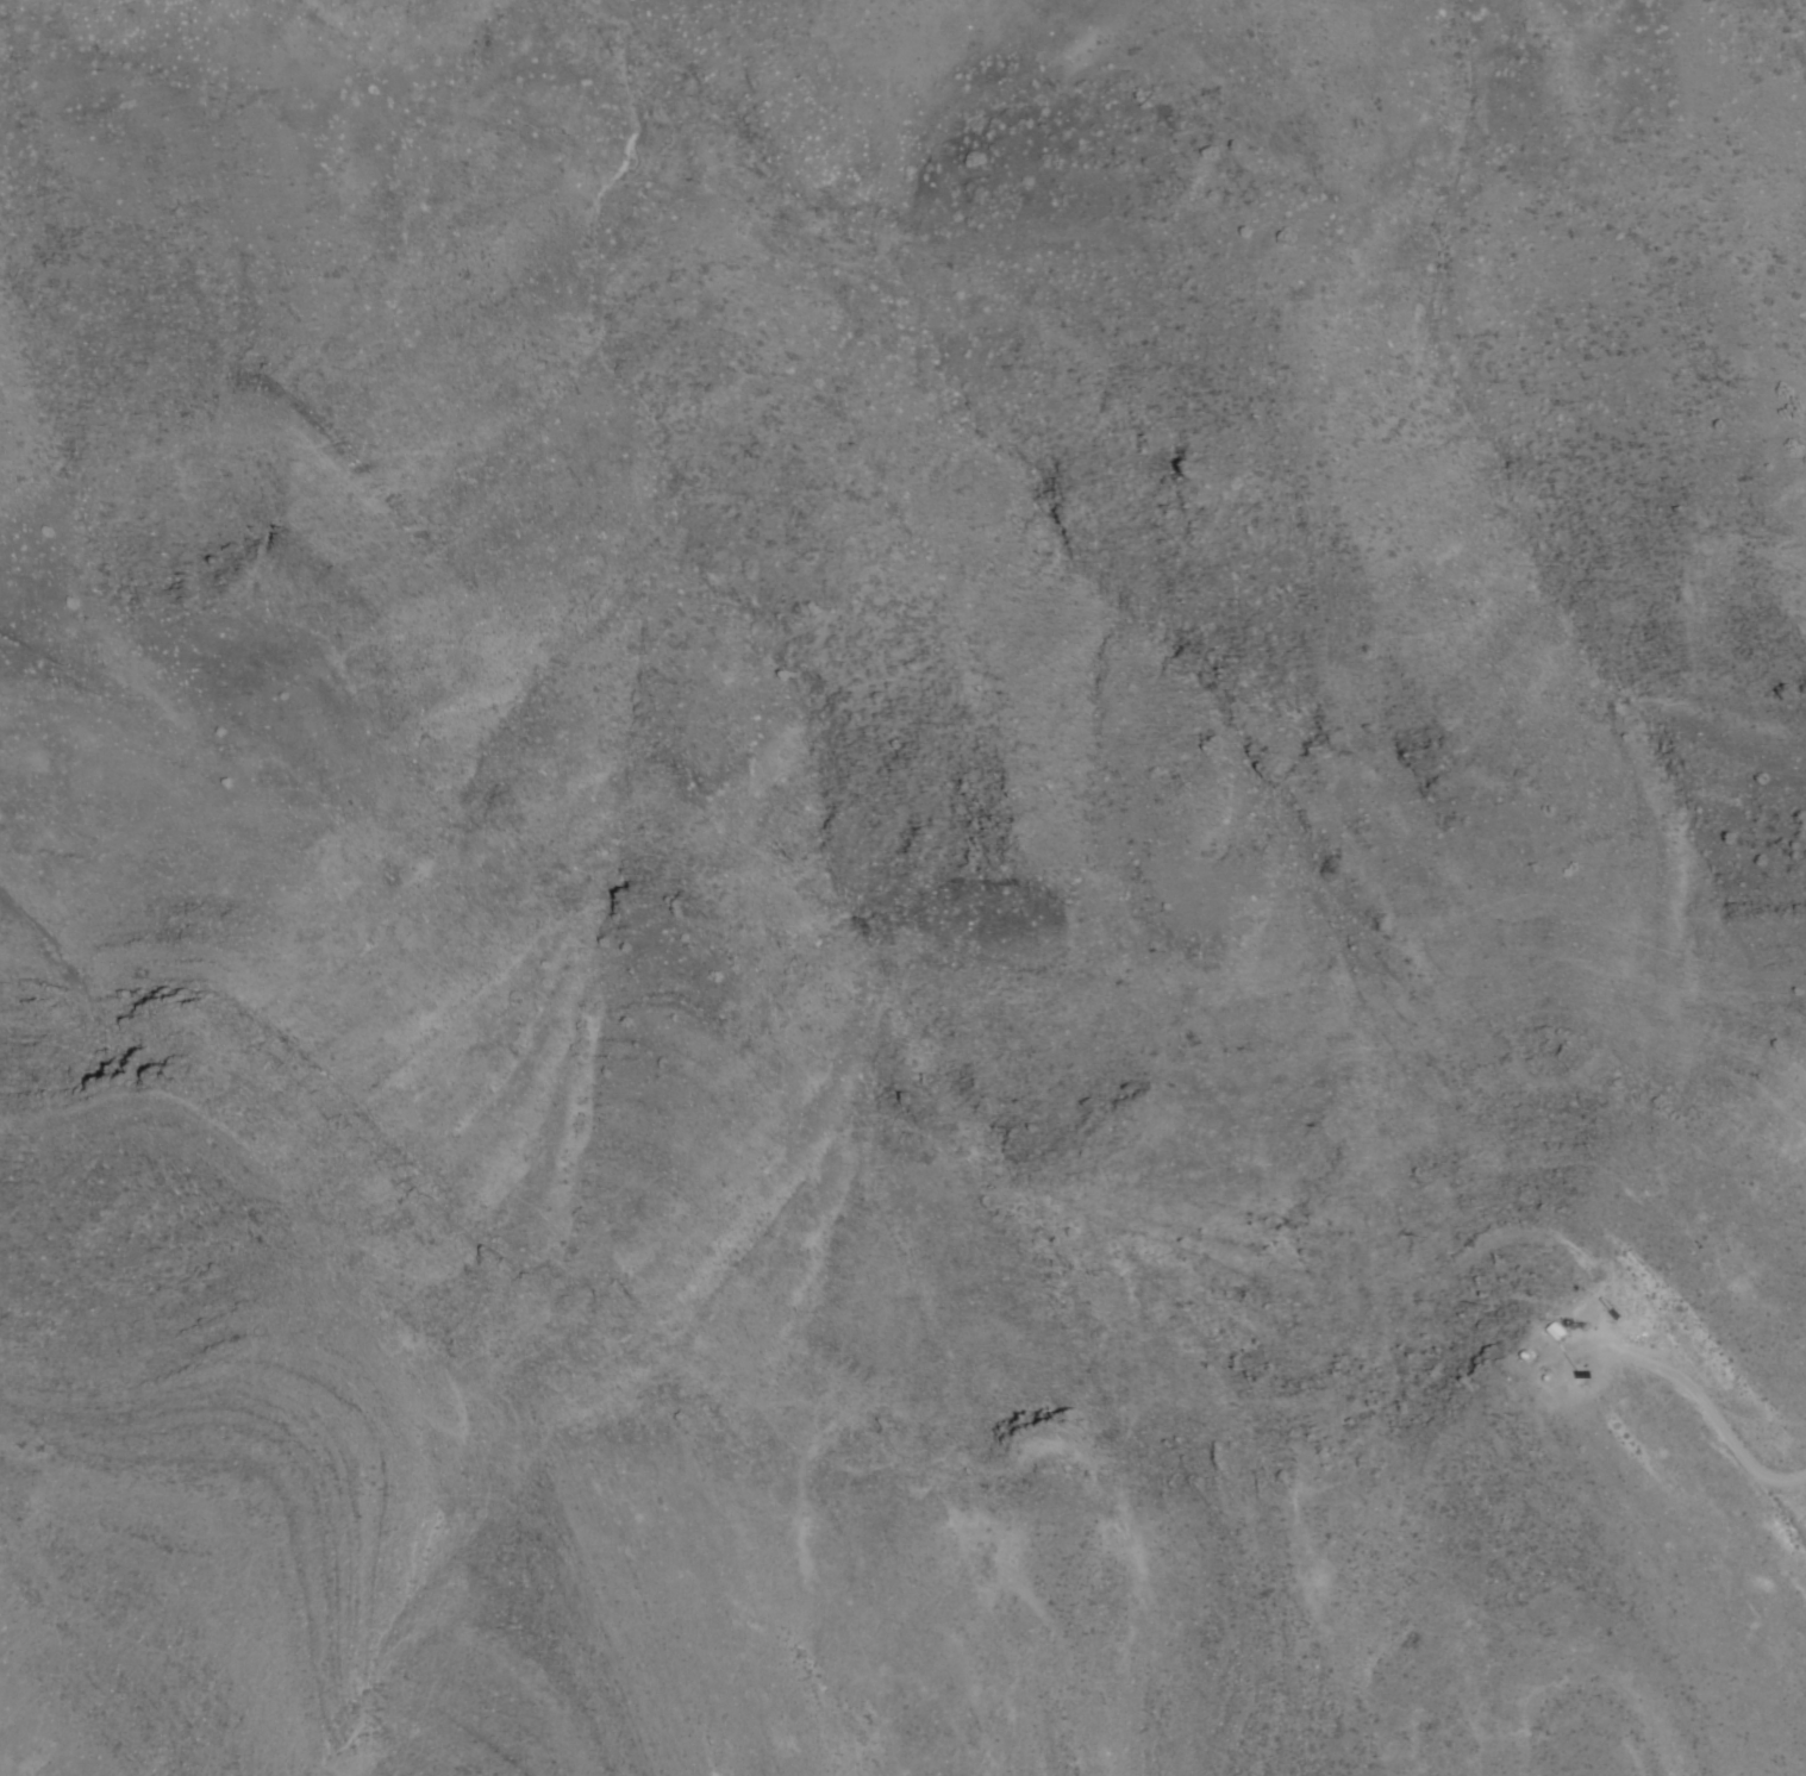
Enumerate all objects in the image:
road: (1694, 1382)

